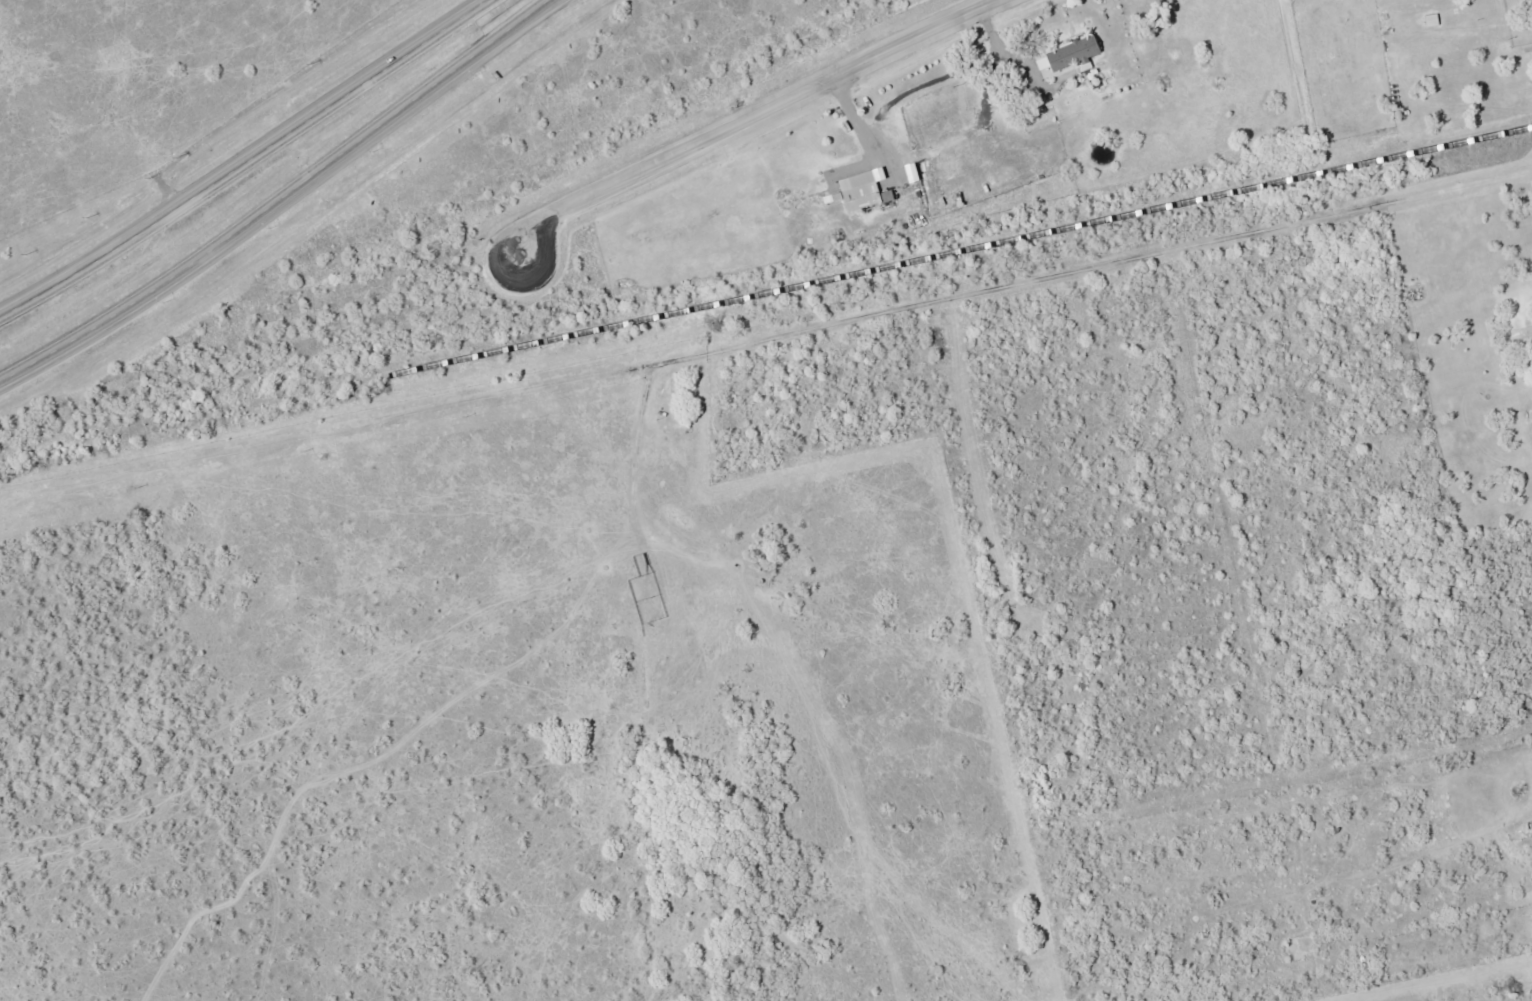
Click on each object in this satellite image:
road: (555, 3)
building: (1076, 52)
road: (745, 113)
road: (248, 157)
building: (862, 191)
road: (284, 199)
railway: (957, 249)
railway: (192, 421)
building: (1531, 827)

